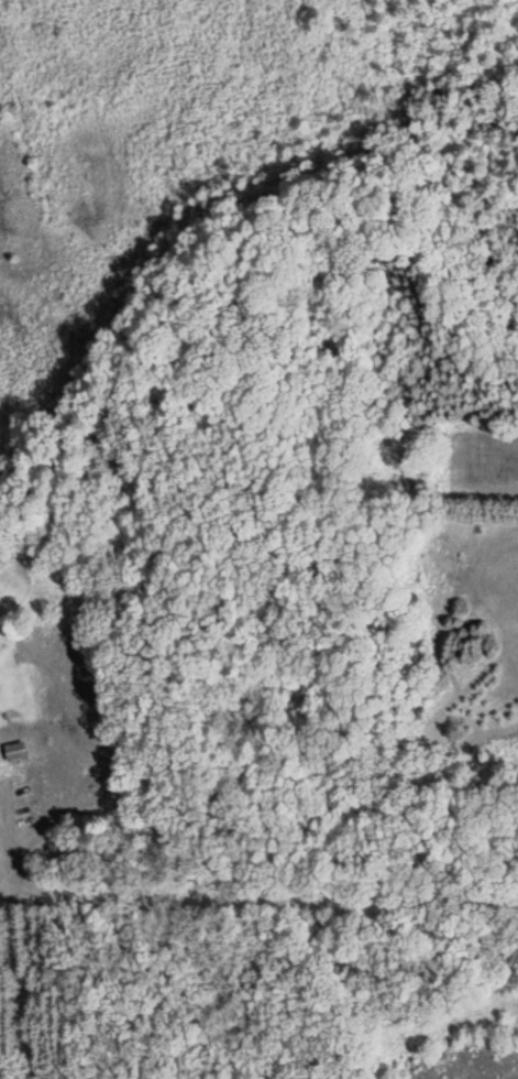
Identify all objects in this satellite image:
building: (15, 752)
road: (1, 842)
road: (19, 951)

